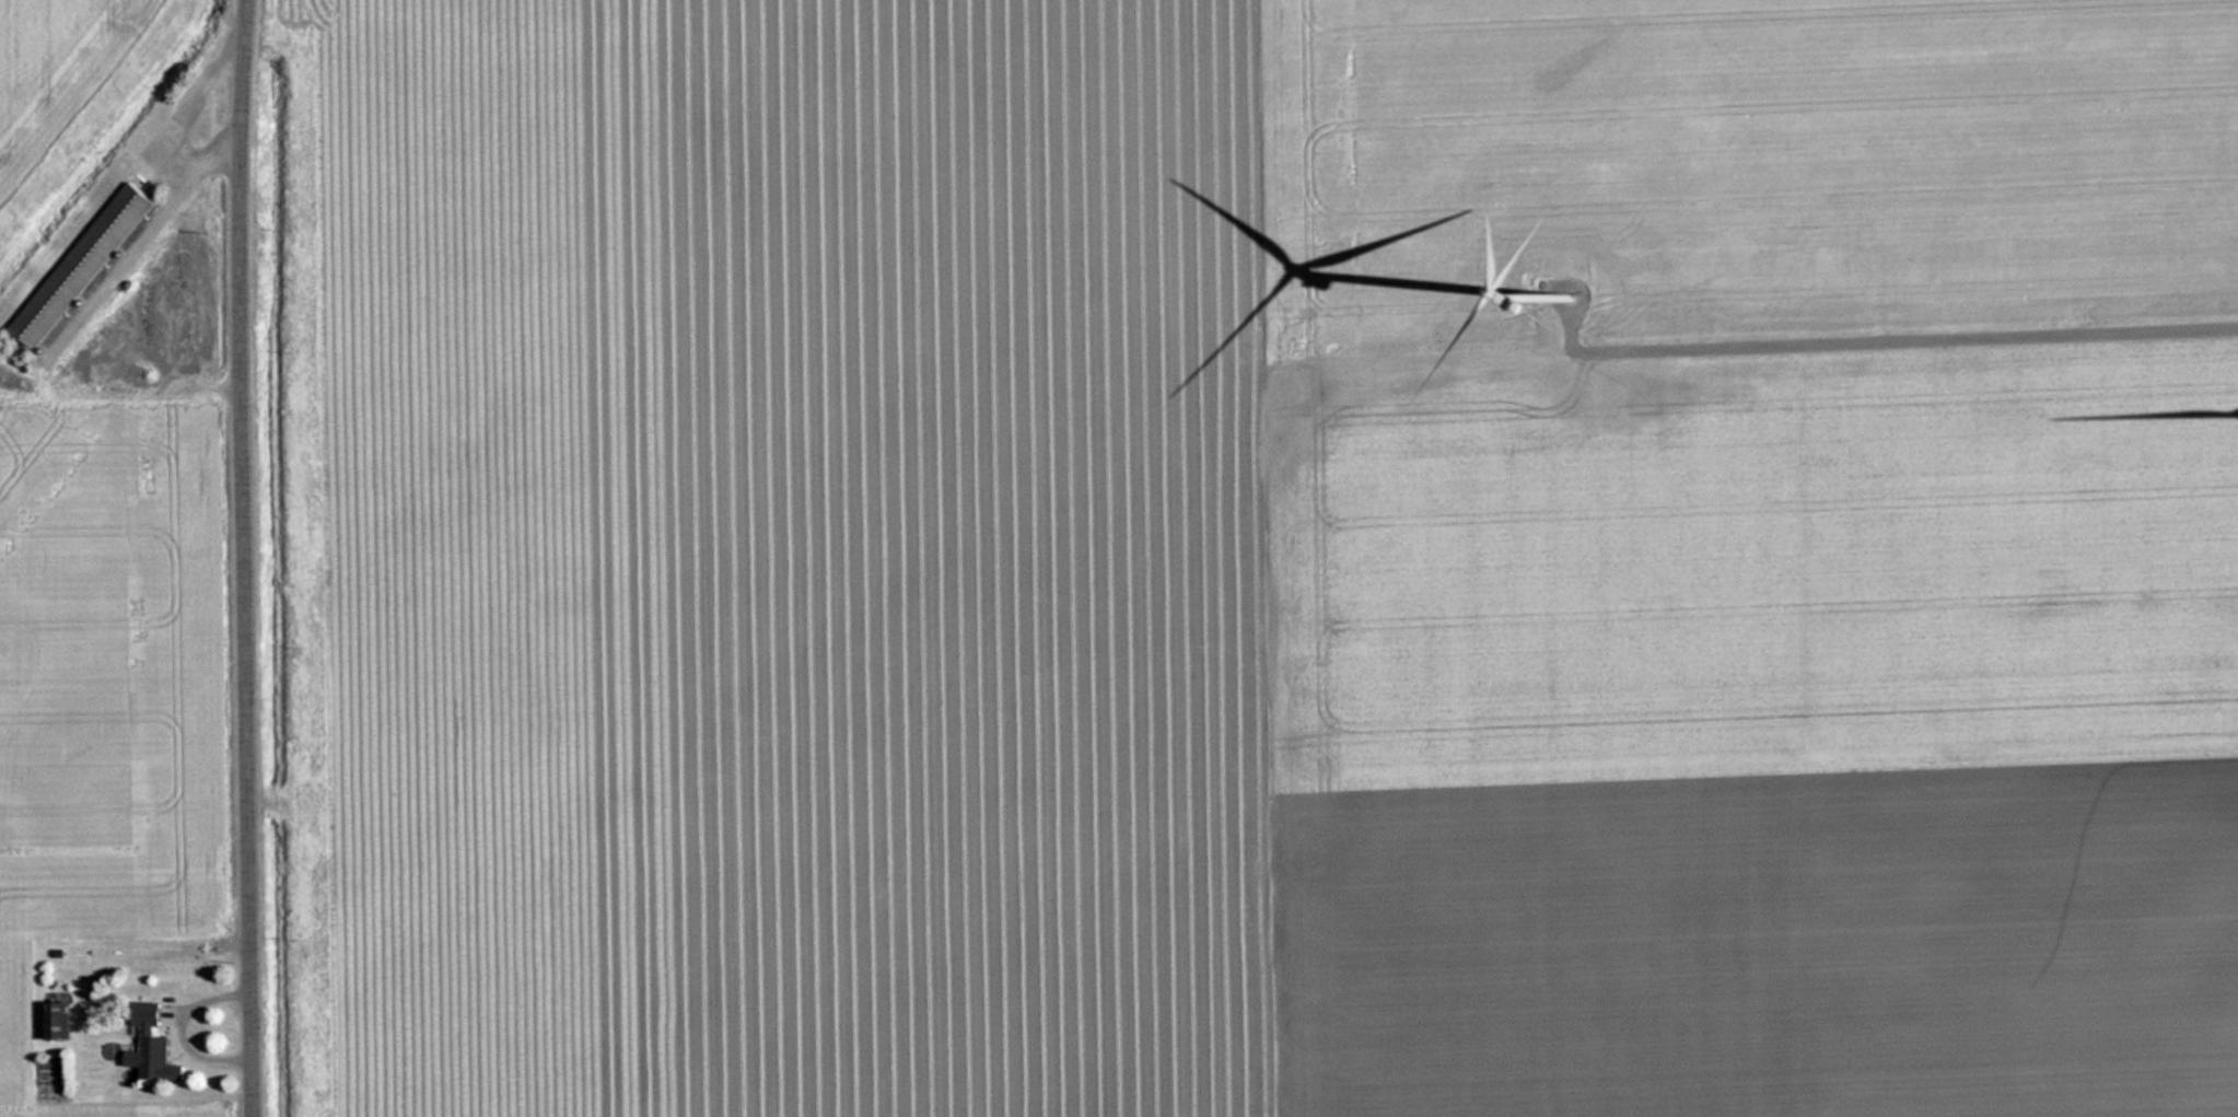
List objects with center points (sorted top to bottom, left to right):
building: (85, 265)
wind turbine: (1569, 292)
road: (256, 558)
building: (60, 1021)
building: (153, 1046)

